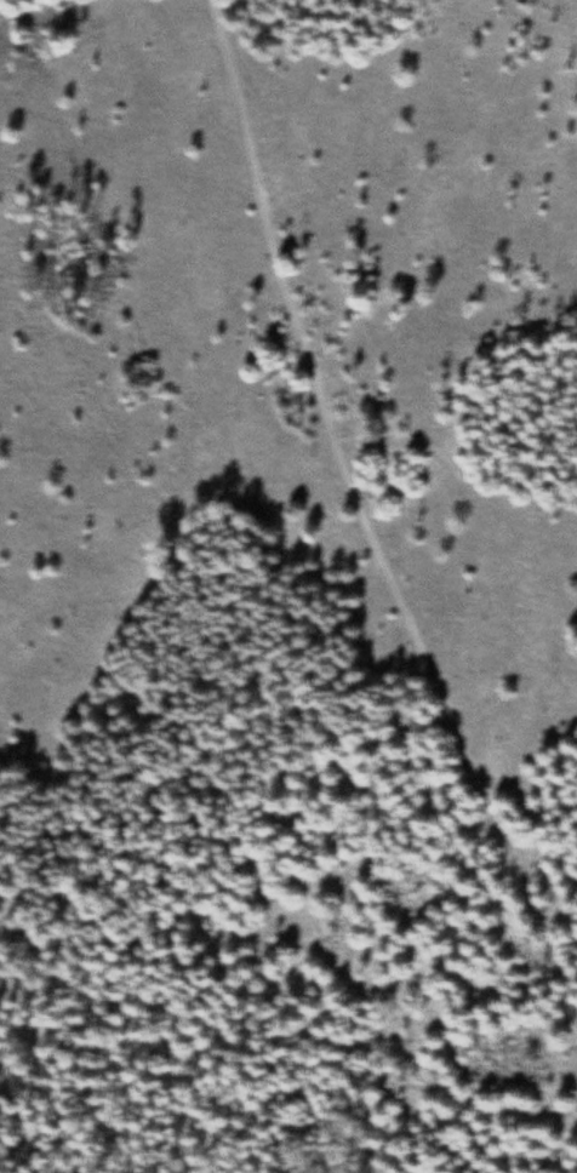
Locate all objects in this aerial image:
road: (362, 525)
park: (288, 586)

